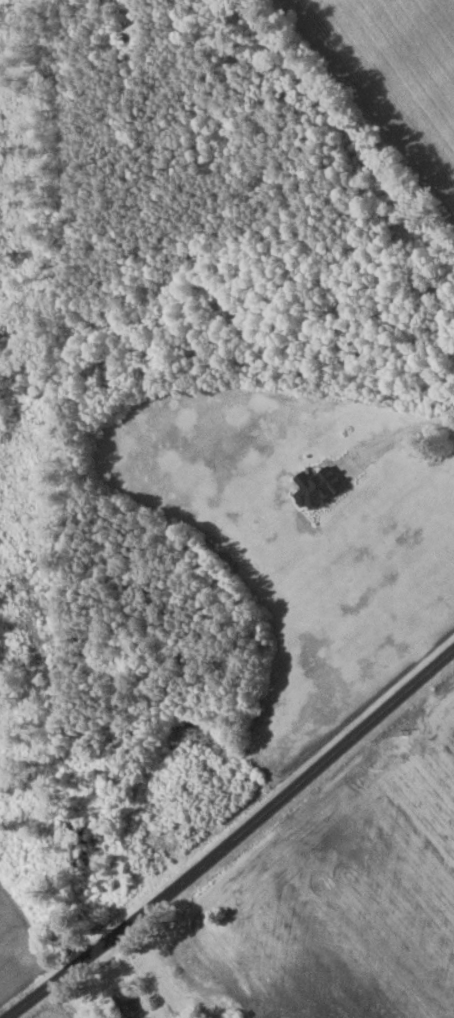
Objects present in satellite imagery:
road: (234, 839)
building: (126, 1004)

